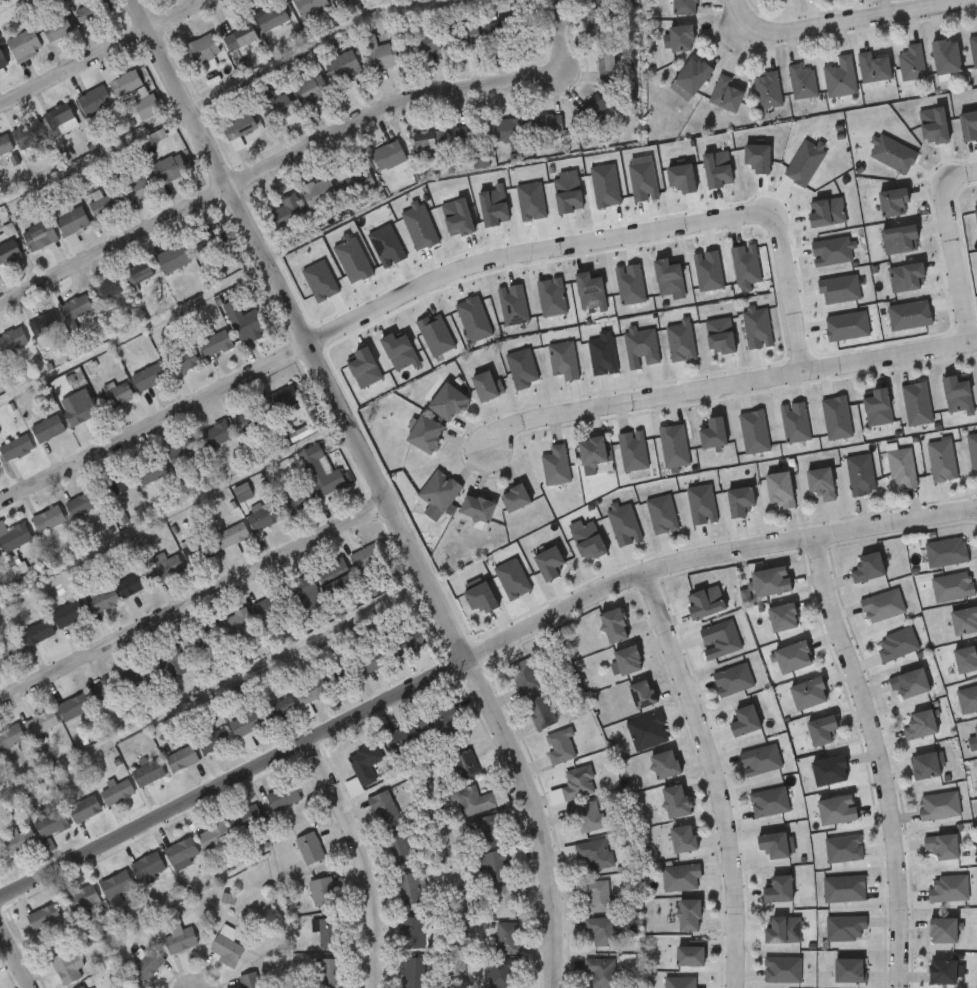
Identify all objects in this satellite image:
building: (519, 0)
building: (772, 0)
building: (685, 7)
building: (310, 8)
building: (92, 12)
road: (740, 13)
building: (271, 17)
road: (857, 19)
building: (600, 24)
building: (70, 26)
building: (58, 29)
building: (499, 31)
building: (462, 37)
building: (241, 38)
building: (682, 38)
building: (40, 41)
building: (424, 43)
building: (24, 45)
building: (973, 48)
building: (203, 51)
road: (103, 52)
building: (381, 53)
building: (945, 57)
building: (3, 59)
building: (912, 63)
building: (343, 65)
building: (606, 65)
building: (874, 68)
building: (219, 77)
building: (840, 77)
building: (690, 79)
building: (802, 81)
building: (126, 83)
building: (311, 88)
building: (767, 90)
building: (726, 94)
building: (109, 95)
building: (95, 100)
building: (147, 106)
building: (279, 111)
building: (77, 113)
building: (128, 115)
building: (61, 116)
building: (545, 124)
building: (510, 129)
building: (238, 130)
building: (28, 133)
building: (471, 135)
building: (430, 139)
building: (4, 143)
building: (140, 148)
road: (302, 150)
building: (389, 157)
building: (170, 168)
road: (956, 174)
building: (354, 181)
building: (139, 187)
building: (318, 193)
building: (121, 200)
building: (102, 209)
building: (288, 211)
building: (87, 216)
building: (72, 222)
building: (55, 233)
building: (39, 236)
building: (205, 240)
building: (9, 251)
road: (527, 252)
building: (172, 258)
building: (1, 265)
road: (955, 267)
building: (142, 273)
building: (109, 289)
road: (790, 291)
building: (90, 301)
building: (75, 309)
building: (58, 320)
building: (247, 324)
building: (44, 326)
building: (25, 336)
building: (12, 340)
building: (214, 342)
building: (184, 361)
building: (562, 361)
building: (521, 369)
building: (147, 378)
building: (484, 386)
road: (724, 387)
building: (116, 395)
building: (446, 403)
building: (285, 405)
building: (74, 408)
building: (99, 408)
building: (249, 420)
building: (61, 421)
road: (154, 424)
building: (47, 428)
building: (215, 434)
building: (423, 434)
building: (31, 440)
building: (15, 447)
building: (590, 452)
building: (632, 452)
building: (972, 452)
building: (183, 453)
building: (941, 461)
building: (555, 467)
building: (901, 469)
building: (147, 471)
building: (320, 472)
building: (859, 475)
building: (122, 480)
road: (378, 483)
building: (819, 483)
building: (242, 489)
building: (777, 490)
building: (438, 492)
building: (100, 497)
building: (513, 498)
building: (81, 503)
building: (476, 509)
building: (261, 516)
building: (62, 517)
building: (47, 520)
building: (31, 531)
building: (231, 536)
building: (13, 537)
building: (198, 552)
building: (945, 553)
road: (712, 555)
building: (365, 559)
building: (546, 563)
building: (165, 567)
building: (866, 568)
building: (337, 578)
building: (769, 582)
building: (132, 584)
building: (952, 588)
building: (479, 595)
building: (303, 596)
building: (103, 601)
road: (194, 602)
building: (704, 604)
building: (881, 607)
building: (265, 610)
building: (86, 613)
building: (67, 615)
building: (781, 619)
building: (963, 622)
building: (50, 626)
building: (237, 627)
building: (612, 627)
building: (36, 634)
building: (413, 639)
building: (204, 643)
building: (896, 645)
building: (9, 651)
building: (791, 658)
building: (371, 659)
building: (172, 660)
building: (965, 660)
building: (625, 662)
building: (0, 668)
building: (521, 677)
building: (909, 685)
building: (105, 688)
building: (310, 692)
building: (640, 695)
building: (806, 695)
building: (88, 697)
building: (967, 700)
building: (72, 708)
building: (280, 709)
building: (537, 712)
building: (57, 721)
building: (742, 722)
building: (40, 723)
building: (439, 726)
building: (919, 726)
building: (246, 729)
building: (819, 731)
building: (646, 732)
building: (10, 737)
building: (402, 740)
building: (973, 740)
building: (213, 742)
building: (558, 748)
road: (877, 758)
building: (181, 759)
building: (759, 761)
building: (365, 762)
building: (464, 764)
building: (663, 766)
building: (924, 767)
building: (828, 772)
building: (147, 773)
road: (712, 777)
road: (233, 780)
building: (574, 784)
building: (116, 793)
building: (283, 796)
building: (474, 800)
building: (673, 802)
building: (768, 803)
building: (383, 807)
building: (938, 807)
building: (83, 809)
building: (835, 811)
building: (246, 817)
building: (582, 817)
building: (51, 825)
building: (488, 831)
building: (31, 833)
building: (214, 834)
building: (681, 840)
building: (18, 843)
building: (771, 846)
building: (942, 847)
building: (310, 848)
building: (400, 848)
building: (181, 850)
building: (593, 856)
road: (364, 859)
building: (147, 865)
building: (498, 866)
building: (680, 879)
building: (116, 884)
building: (408, 889)
building: (842, 890)
building: (949, 890)
building: (322, 891)
building: (776, 891)
building: (593, 896)
building: (82, 899)
building: (504, 901)
building: (56, 913)
building: (43, 917)
building: (687, 917)
building: (26, 929)
building: (843, 929)
building: (600, 930)
building: (329, 932)
building: (413, 932)
building: (941, 932)
building: (508, 937)
building: (180, 939)
building: (227, 949)
road: (16, 956)
building: (687, 957)
building: (148, 963)
building: (66, 967)
building: (329, 972)
building: (413, 972)
building: (498, 972)
building: (848, 972)
building: (597, 973)
building: (941, 973)
building: (249, 980)
building: (679, 983)
building: (81, 987)

